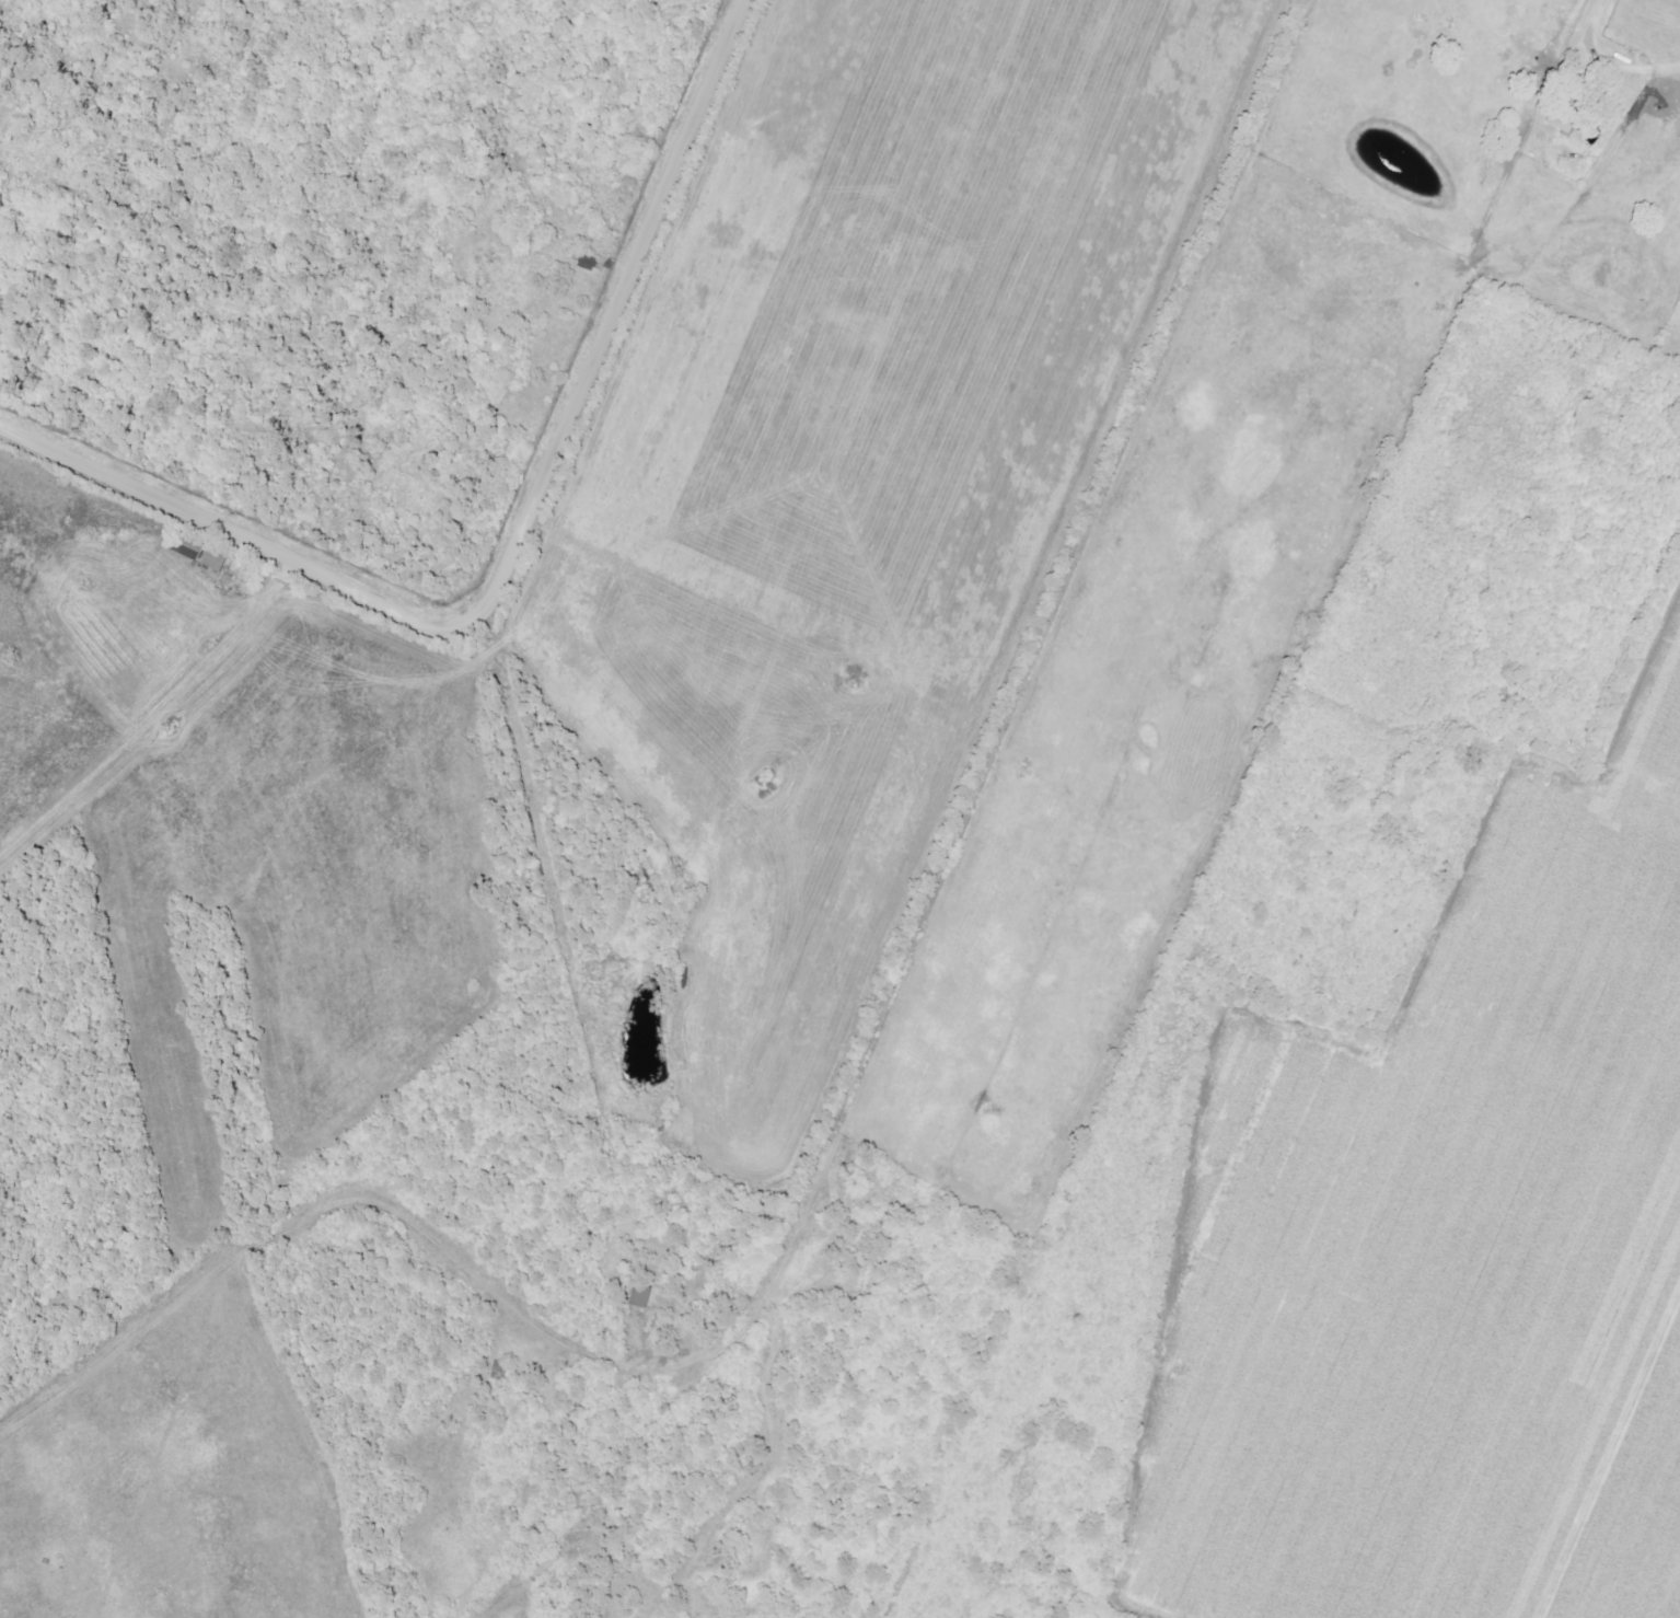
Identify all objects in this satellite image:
road: (1588, 28)
building: (1565, 122)
road: (517, 551)
building: (216, 560)
road: (195, 756)

